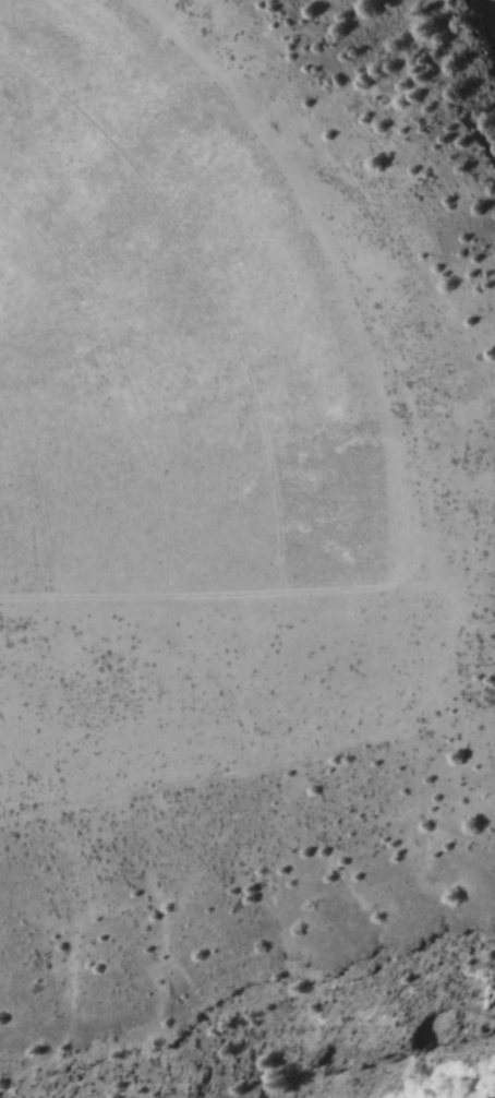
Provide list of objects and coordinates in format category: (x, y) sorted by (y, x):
crop: (217, 447)

